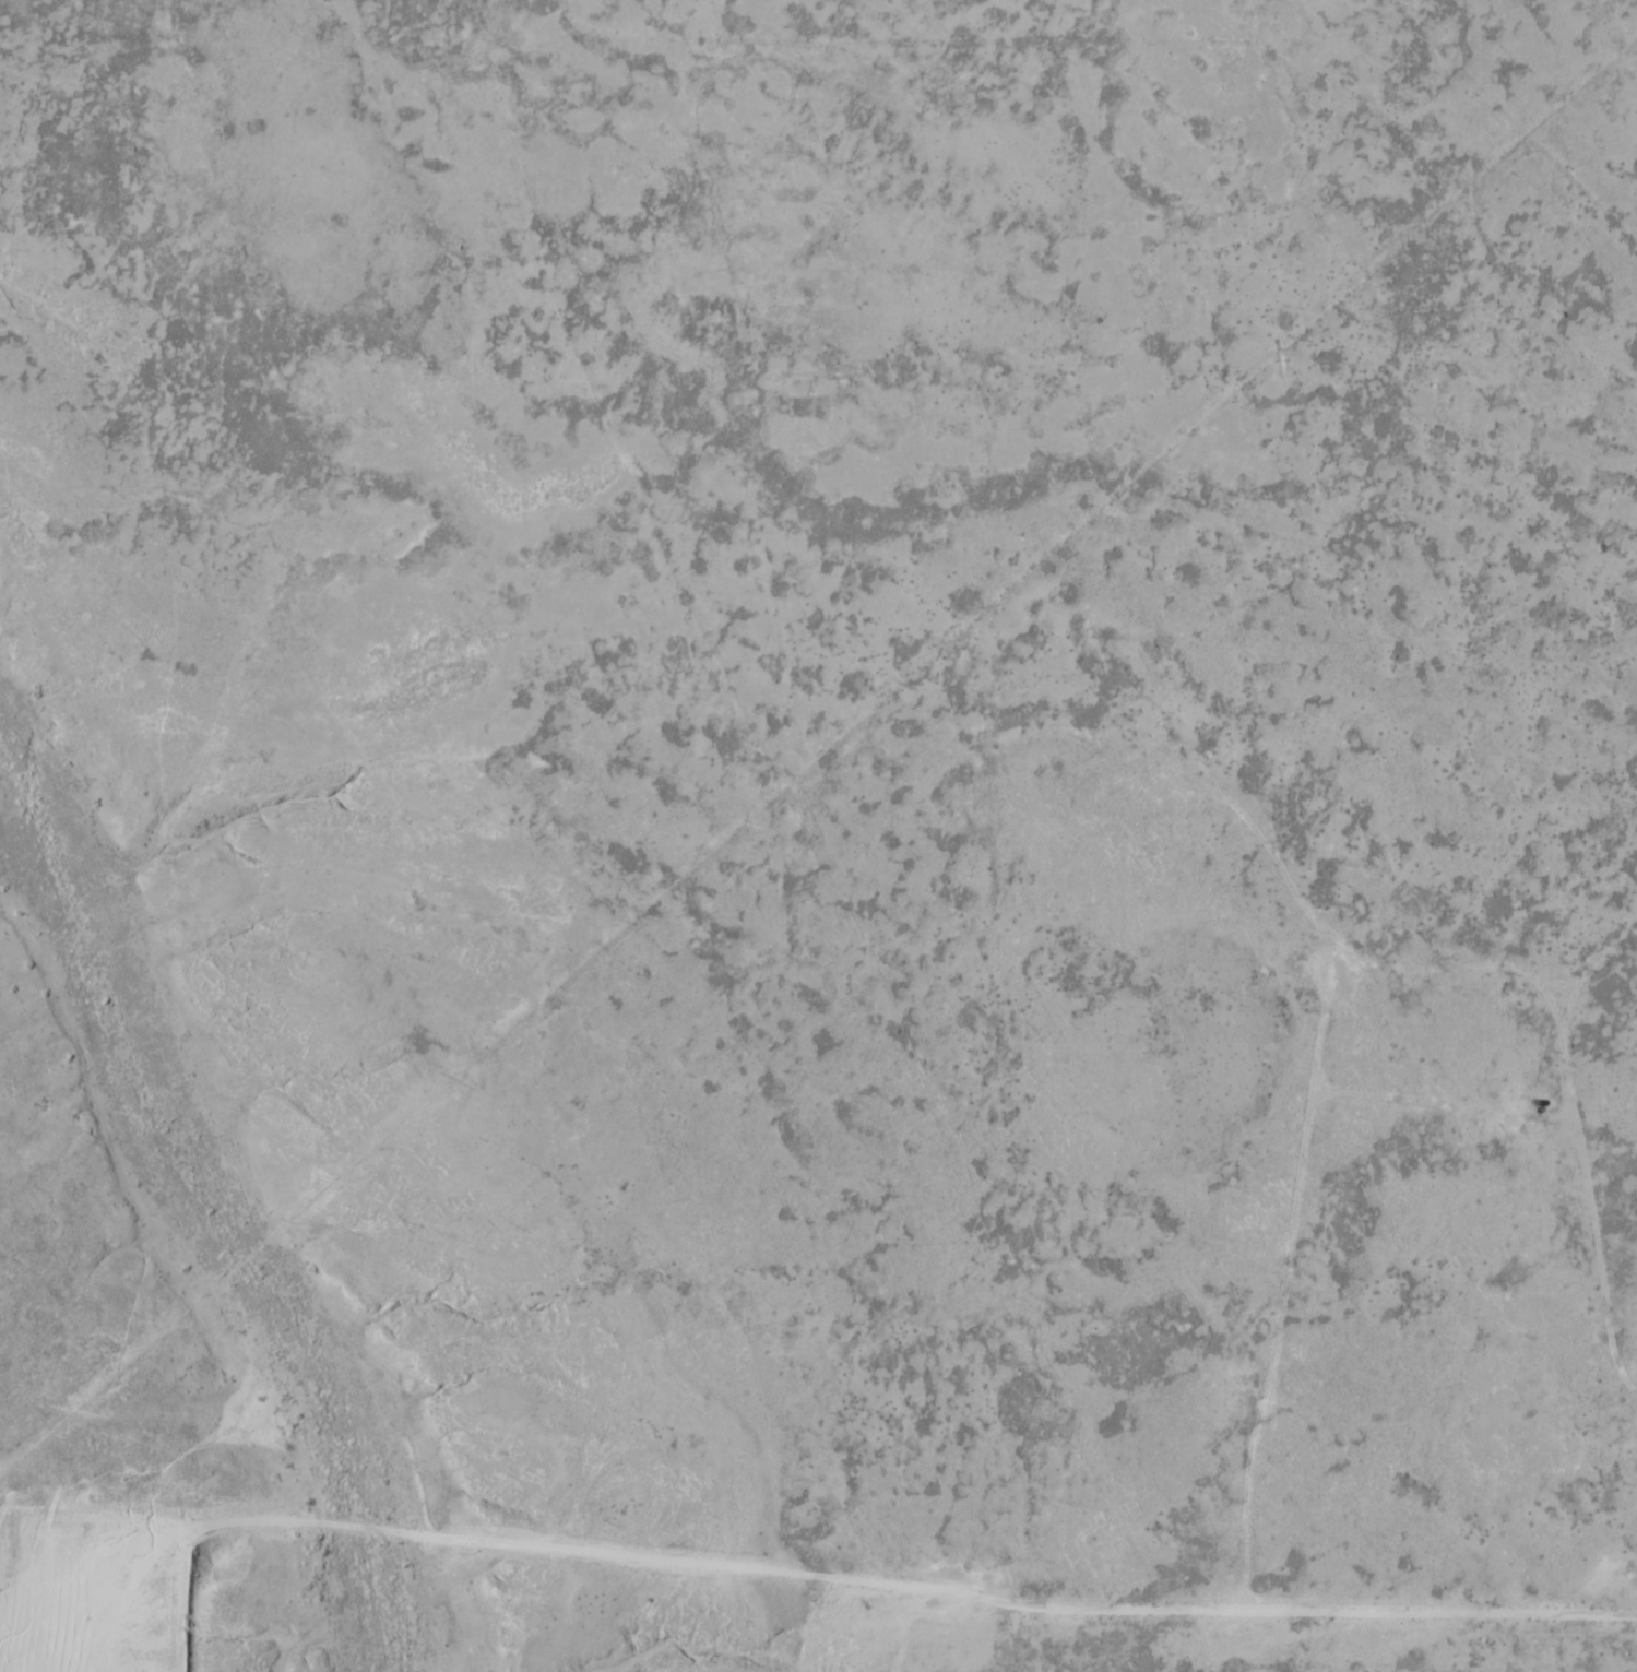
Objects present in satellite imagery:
road: (830, 1601)

